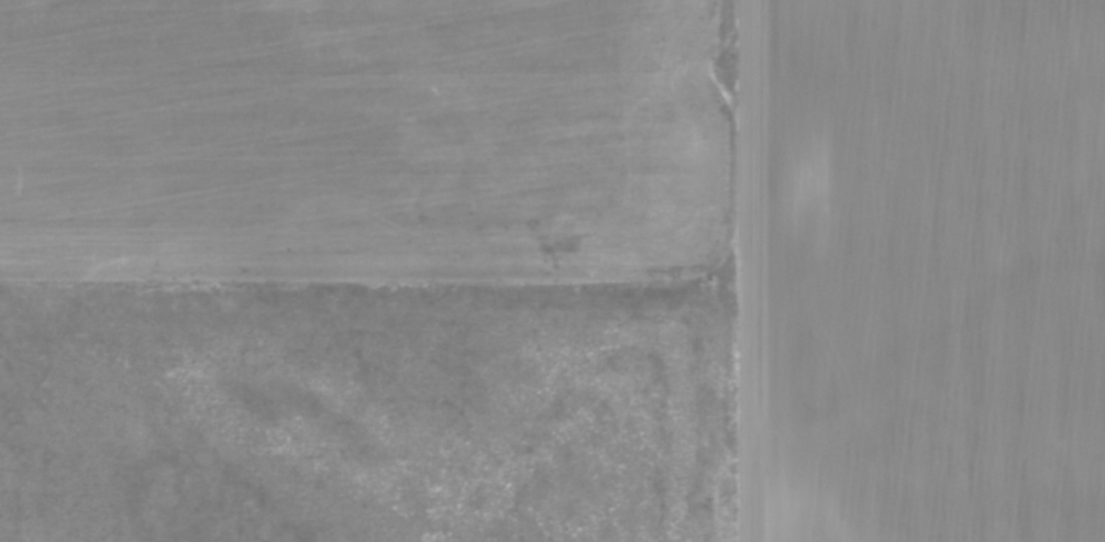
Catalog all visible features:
crop: (365, 141)
road: (754, 270)
crop: (938, 270)

